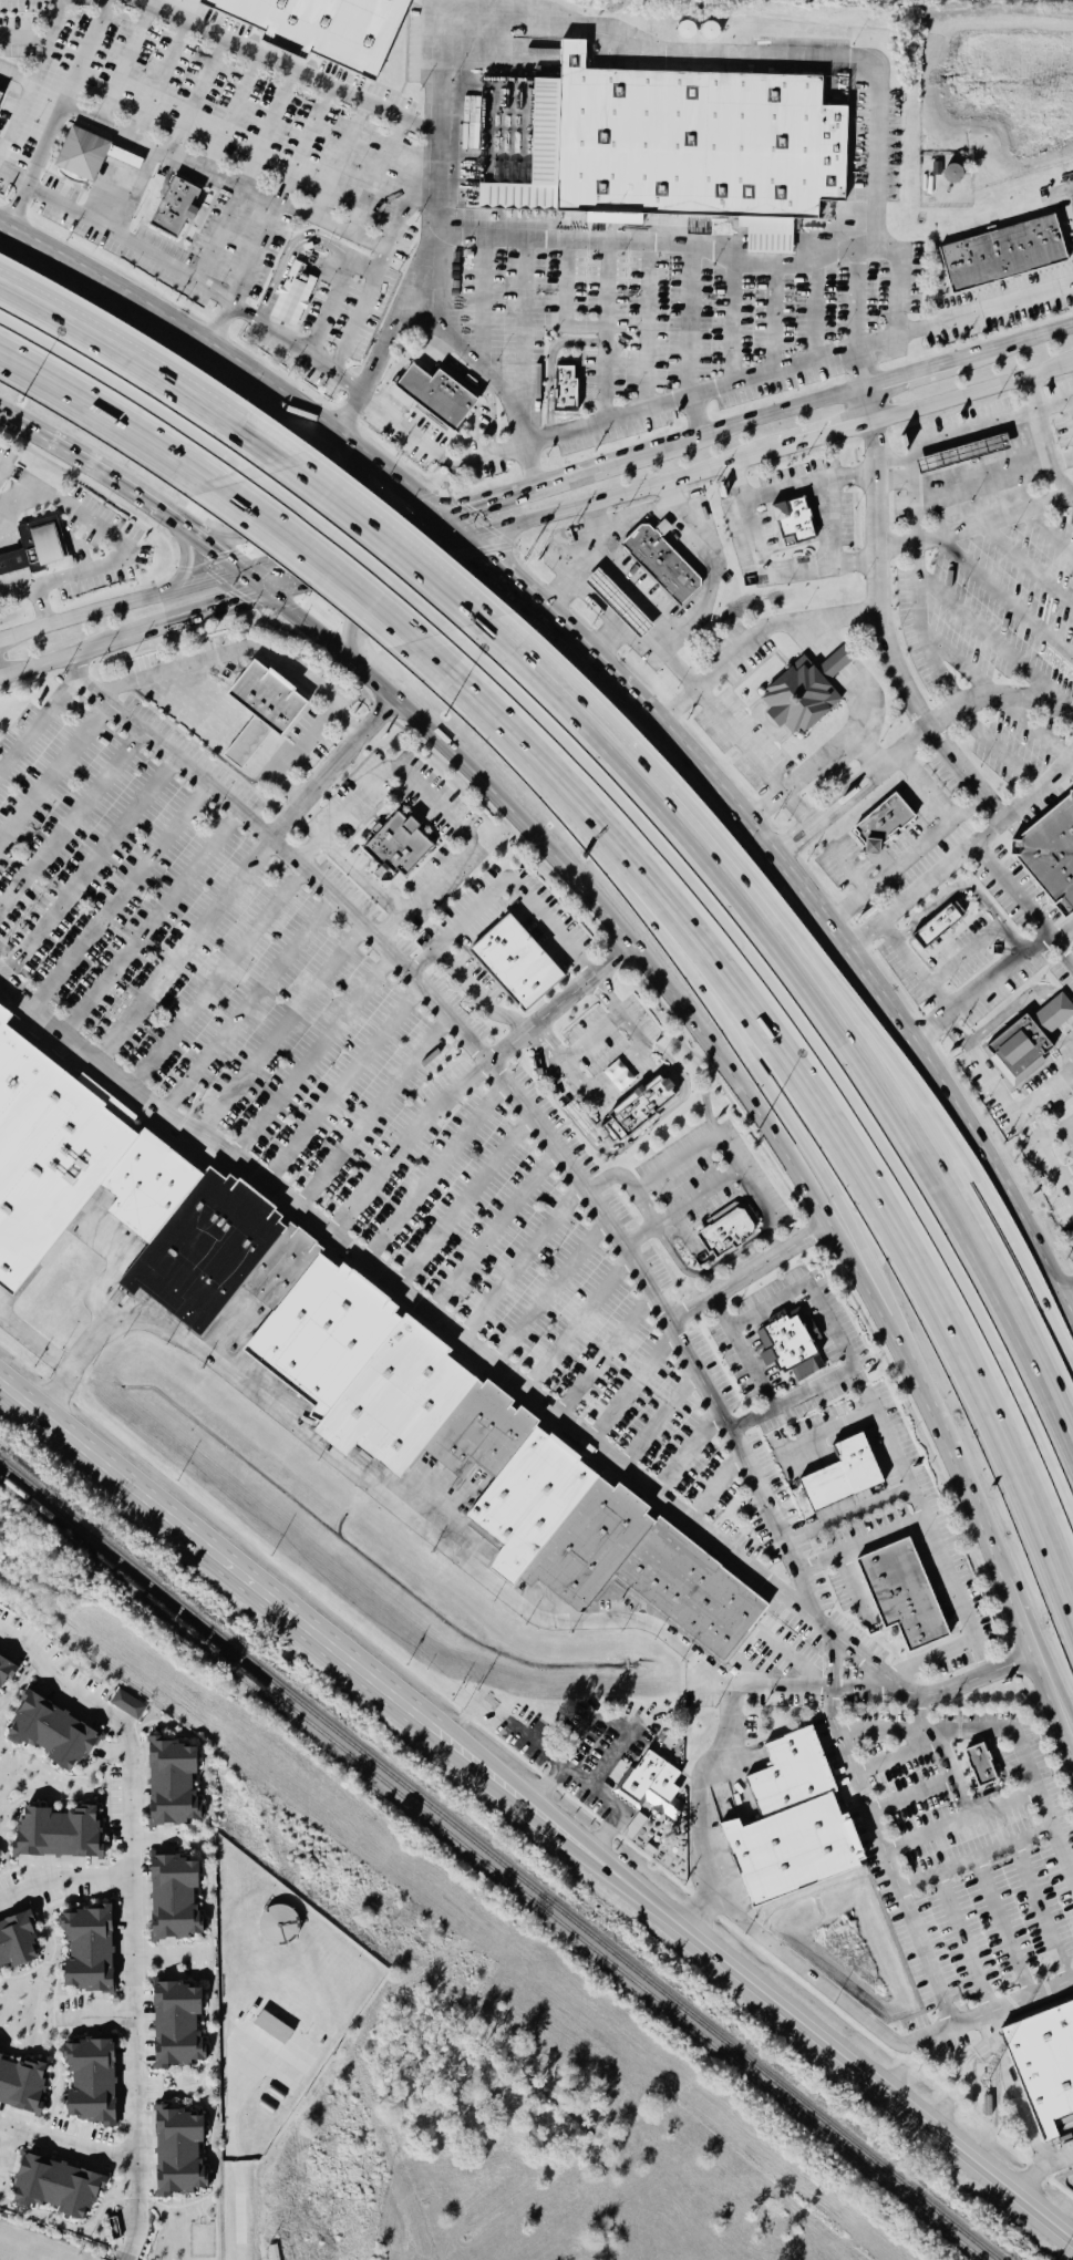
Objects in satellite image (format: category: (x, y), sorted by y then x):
road: (439, 10)
building: (323, 28)
road: (124, 69)
road: (33, 79)
road: (158, 84)
building: (0, 96)
road: (877, 96)
road: (234, 110)
road: (58, 112)
road: (270, 125)
road: (434, 125)
road: (308, 143)
building: (694, 144)
road: (172, 148)
building: (81, 156)
road: (341, 157)
building: (123, 159)
road: (379, 174)
road: (13, 177)
road: (133, 192)
building: (174, 208)
road: (405, 210)
road: (341, 228)
road: (223, 231)
road: (256, 250)
road: (289, 250)
road: (149, 251)
building: (1001, 256)
road: (364, 264)
building: (291, 296)
road: (857, 296)
road: (482, 300)
road: (567, 302)
road: (897, 305)
road: (328, 306)
road: (984, 310)
road: (813, 312)
road: (776, 317)
road: (694, 318)
road: (732, 322)
road: (524, 324)
road: (649, 324)
road: (606, 330)
road: (296, 345)
road: (1017, 345)
road: (231, 353)
road: (794, 364)
road: (145, 365)
road: (914, 376)
road: (494, 382)
building: (566, 390)
road: (976, 392)
building: (436, 395)
road: (873, 405)
road: (1053, 406)
road: (117, 410)
road: (1030, 422)
road: (38, 435)
road: (829, 435)
road: (1043, 438)
road: (695, 441)
road: (540, 442)
road: (1033, 448)
building: (962, 454)
road: (6, 465)
road: (106, 476)
road: (625, 494)
road: (14, 498)
road: (484, 504)
road: (161, 509)
road: (917, 513)
traffic signals: (444, 516)
building: (792, 522)
road: (303, 526)
road: (457, 526)
road: (973, 526)
building: (663, 528)
road: (188, 532)
road: (1049, 532)
traffic signals: (471, 536)
road: (388, 538)
road: (347, 545)
building: (33, 547)
road: (133, 553)
road: (223, 555)
road: (493, 555)
road: (187, 558)
road: (336, 560)
building: (662, 561)
road: (770, 564)
road: (1028, 564)
road: (375, 567)
traffic signals: (249, 574)
road: (265, 586)
road: (413, 589)
road: (701, 591)
road: (579, 592)
road: (557, 594)
road: (1004, 598)
traffic signals: (280, 599)
building: (619, 601)
gas station: (619, 601)
road: (124, 605)
road: (554, 611)
road: (754, 632)
road: (886, 637)
road: (140, 638)
road: (931, 643)
road: (992, 646)
road: (283, 657)
building: (836, 661)
road: (966, 670)
road: (850, 679)
road: (472, 682)
building: (799, 694)
road: (1019, 694)
building: (260, 714)
road: (38, 723)
road: (1031, 726)
road: (742, 737)
road: (997, 747)
road: (837, 755)
road: (888, 759)
road: (1067, 763)
road: (332, 766)
road: (56, 774)
road: (926, 788)
road: (1024, 796)
road: (435, 799)
road: (664, 803)
road: (70, 818)
building: (884, 822)
building: (398, 845)
road: (974, 845)
road: (785, 846)
building: (1050, 853)
road: (911, 858)
road: (92, 868)
road: (505, 884)
road: (122, 897)
road: (602, 909)
road: (24, 915)
road: (153, 922)
building: (940, 926)
road: (1062, 930)
road: (183, 948)
road: (863, 957)
building: (515, 963)
road: (911, 968)
road: (221, 980)
road: (700, 988)
road: (609, 989)
road: (600, 997)
road: (560, 1001)
road: (250, 1004)
road: (946, 1013)
building: (1053, 1013)
road: (929, 1024)
road: (283, 1028)
road: (587, 1034)
road: (543, 1043)
building: (1019, 1049)
road: (316, 1056)
road: (493, 1067)
road: (343, 1082)
road: (1048, 1093)
building: (638, 1110)
road: (375, 1113)
road: (838, 1116)
road: (650, 1128)
road: (1055, 1132)
road: (404, 1142)
road: (1039, 1144)
road: (732, 1150)
road: (968, 1162)
road: (434, 1172)
road: (1065, 1172)
road: (1065, 1187)
road: (754, 1197)
road: (463, 1200)
road: (640, 1203)
road: (961, 1227)
road: (491, 1230)
building: (726, 1232)
road: (520, 1262)
road: (708, 1269)
road: (114, 1270)
road: (750, 1270)
road: (547, 1289)
road: (1070, 1297)
road: (579, 1322)
road: (834, 1329)
road: (35, 1341)
building: (334, 1346)
building: (787, 1348)
road: (605, 1352)
road: (906, 1358)
road: (752, 1366)
road: (506, 1372)
road: (632, 1384)
road: (659, 1415)
road: (881, 1420)
road: (689, 1453)
building: (842, 1475)
road: (718, 1488)
road: (847, 1514)
road: (920, 1518)
road: (427, 1533)
road: (216, 1554)
road: (1009, 1591)
building: (902, 1593)
road: (930, 1658)
building: (8, 1665)
building: (128, 1704)
road: (880, 1731)
building: (53, 1732)
road: (943, 1752)
road: (895, 1757)
building: (979, 1767)
road: (1029, 1768)
road: (1002, 1777)
building: (173, 1783)
building: (651, 1784)
road: (596, 1786)
road: (911, 1796)
road: (538, 1810)
road: (960, 1820)
building: (792, 1824)
building: (59, 1834)
road: (877, 1834)
road: (974, 1858)
railway: (497, 1862)
railway: (488, 1868)
road: (64, 1877)
road: (133, 1892)
building: (175, 1898)
railway: (451, 1900)
road: (700, 1908)
road: (1041, 1911)
road: (1003, 1927)
road: (964, 1941)
building: (18, 1942)
building: (89, 1949)
road: (171, 1959)
road: (792, 1959)
road: (100, 2015)
building: (177, 2024)
building: (274, 2027)
road: (858, 2065)
building: (1043, 2066)
building: (92, 2082)
building: (21, 2085)
road: (1011, 2092)
road: (68, 2142)
building: (178, 2153)
road: (1040, 2169)
building: (58, 2187)
road: (130, 2240)

